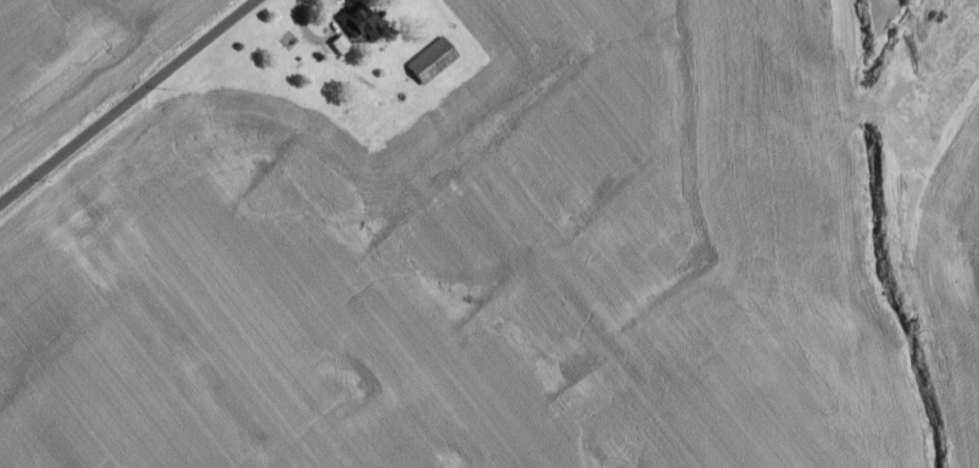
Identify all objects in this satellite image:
building: (355, 26)
building: (338, 50)
building: (430, 66)
road: (131, 104)

